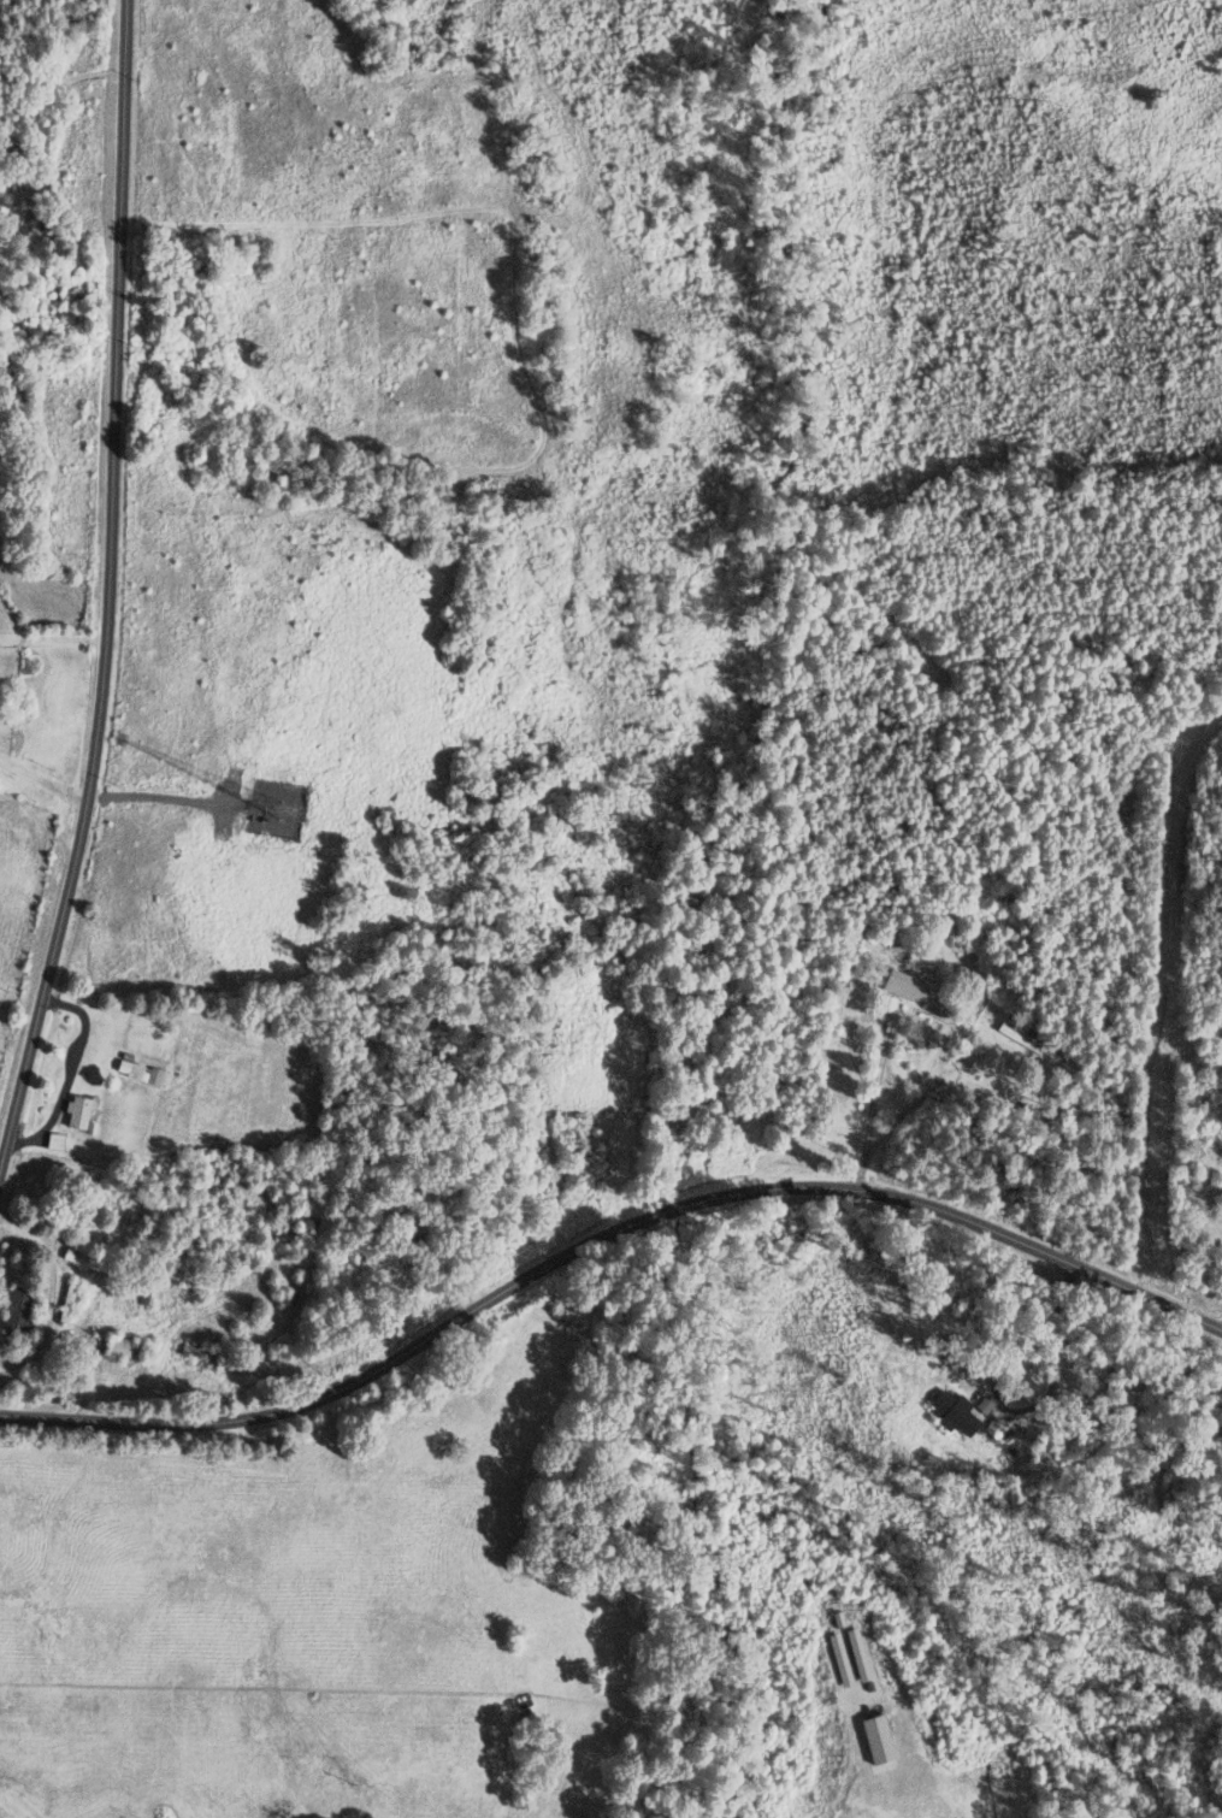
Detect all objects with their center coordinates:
road: (108, 591)
road: (42, 780)
building: (910, 987)
building: (1017, 1037)
road: (71, 1072)
building: (140, 1073)
road: (872, 1108)
building: (81, 1112)
road: (609, 1246)
building: (87, 1263)
building: (17, 1316)
building: (125, 1348)
building: (203, 1353)
road: (10, 1362)
building: (996, 1429)

